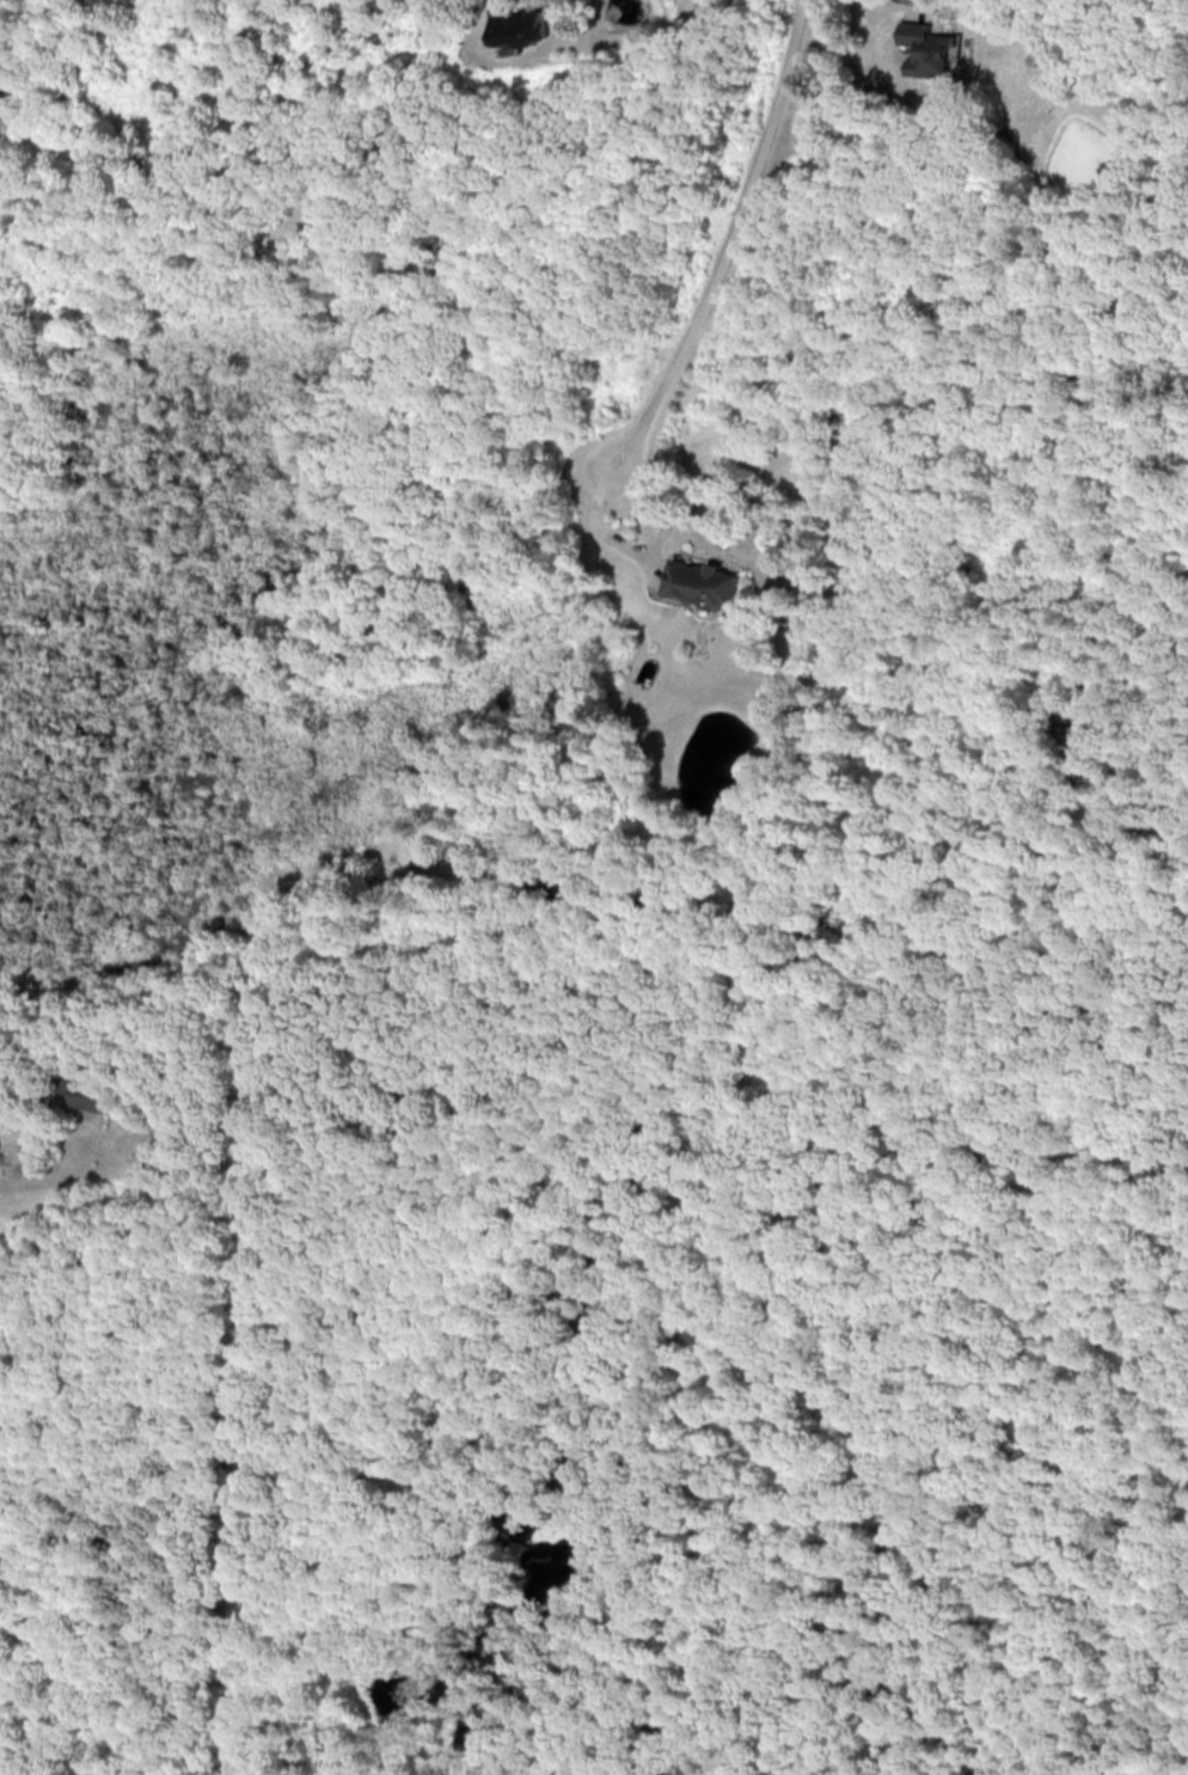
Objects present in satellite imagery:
building: (520, 25)
building: (926, 50)
road: (858, 78)
road: (727, 239)
road: (647, 555)
building: (705, 582)
building: (87, 1096)

